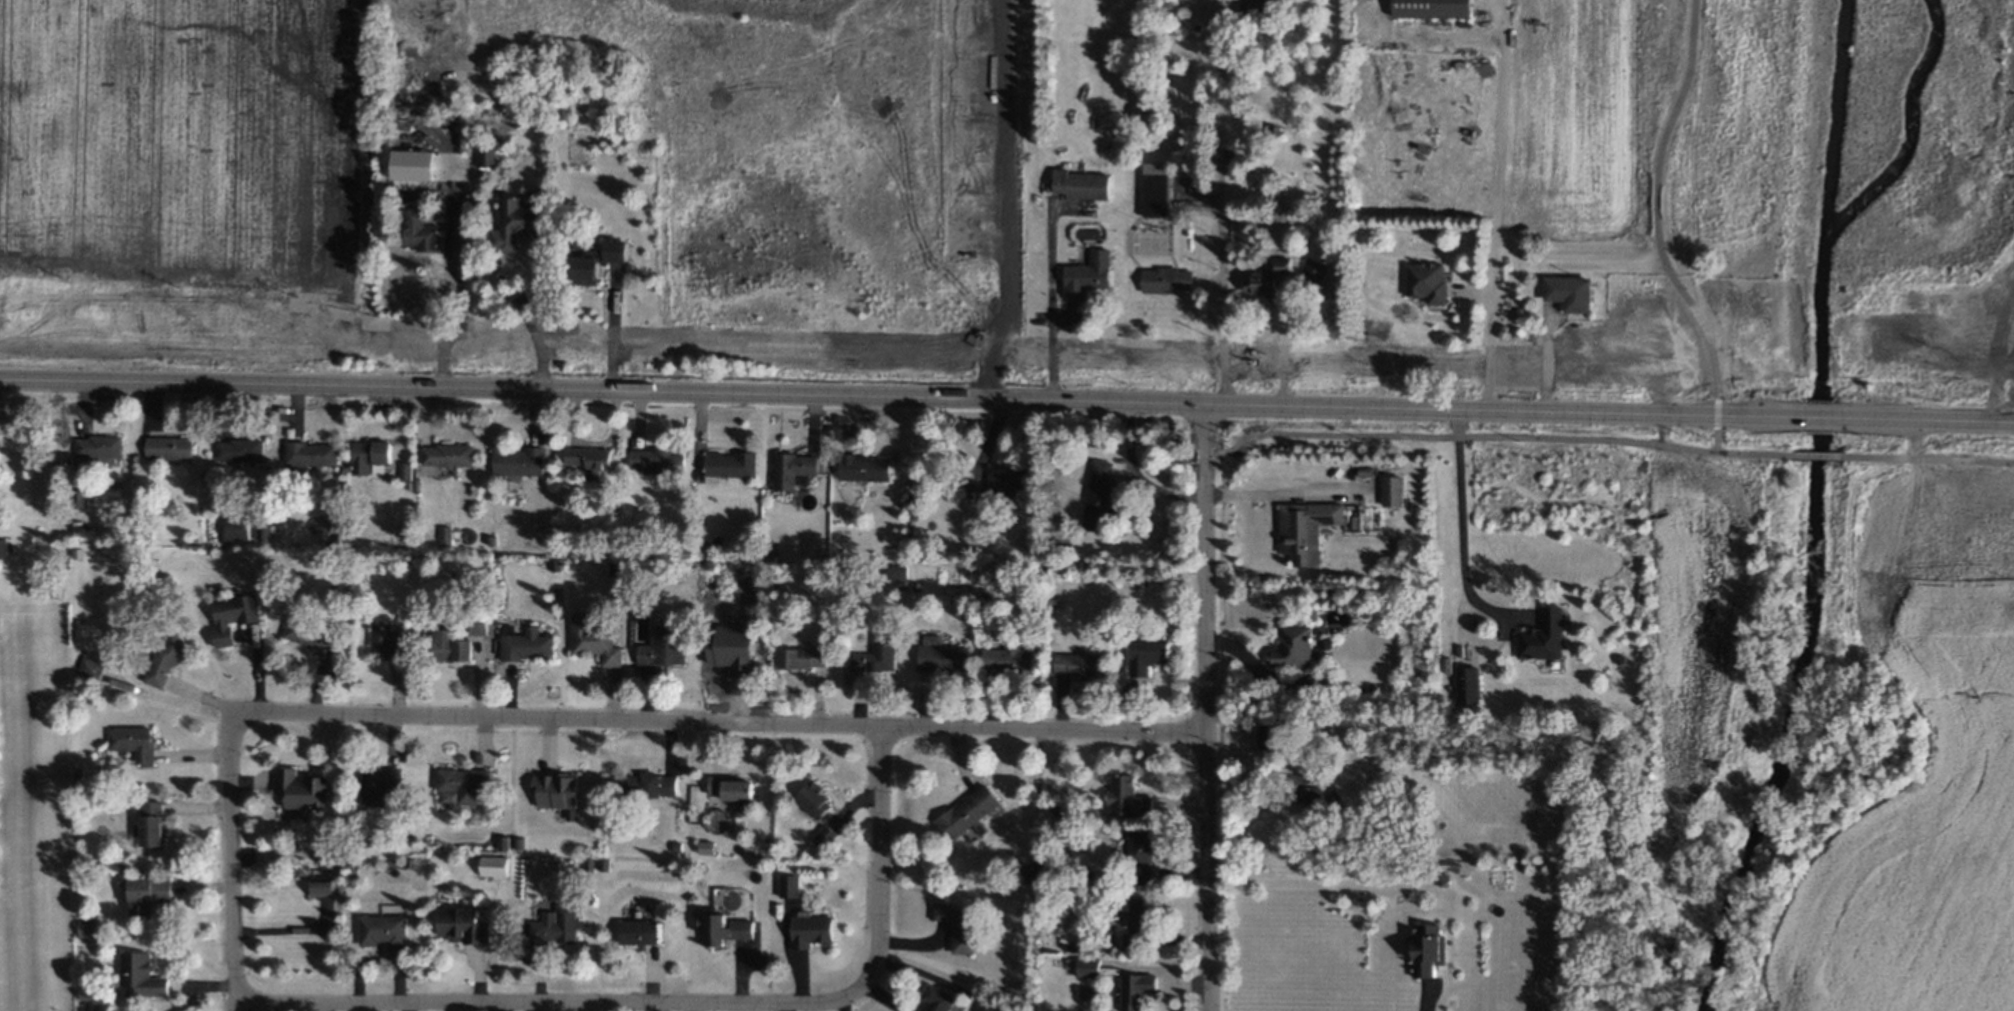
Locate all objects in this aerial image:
building: (1254, 8)
building: (1429, 8)
crop: (1553, 119)
building: (485, 158)
building: (411, 165)
park: (782, 165)
park: (1835, 177)
crop: (185, 185)
building: (1078, 185)
building: (1153, 189)
road: (1005, 202)
road: (1654, 203)
road: (1220, 210)
road: (1489, 210)
building: (513, 225)
building: (418, 232)
building: (594, 261)
building: (1311, 270)
building: (1086, 275)
building: (1265, 277)
building: (1164, 279)
building: (1424, 283)
building: (1567, 294)
road: (514, 300)
road: (456, 325)
road: (610, 334)
road: (1279, 344)
road: (903, 399)
road: (1716, 411)
road: (1819, 418)
road: (1923, 420)
road: (1498, 435)
road: (1714, 438)
building: (98, 445)
building: (167, 448)
building: (236, 448)
building: (308, 452)
building: (445, 454)
road: (1815, 454)
building: (365, 455)
building: (585, 458)
road: (1925, 458)
building: (655, 460)
building: (721, 460)
building: (519, 462)
building: (785, 462)
building: (857, 464)
building: (401, 471)
building: (1008, 473)
building: (1389, 488)
building: (1094, 489)
building: (75, 492)
road: (1284, 492)
road: (1254, 498)
building: (0, 518)
building: (231, 526)
building: (73, 528)
building: (1303, 528)
road: (1454, 528)
building: (259, 530)
building: (438, 533)
building: (885, 538)
building: (486, 539)
building: (3, 545)
building: (1057, 548)
building: (610, 563)
building: (893, 571)
building: (897, 585)
building: (912, 586)
building: (1048, 602)
building: (227, 615)
building: (474, 623)
building: (305, 629)
building: (1535, 635)
building: (589, 637)
building: (928, 637)
building: (384, 638)
building: (658, 641)
building: (520, 642)
building: (1285, 644)
building: (446, 647)
building: (1143, 648)
building: (731, 649)
building: (869, 649)
building: (795, 650)
building: (1005, 654)
building: (939, 657)
building: (159, 659)
building: (1072, 659)
building: (81, 666)
building: (1315, 680)
building: (1462, 686)
road: (1208, 708)
road: (717, 725)
building: (1350, 731)
building: (125, 737)
building: (1267, 738)
building: (457, 772)
building: (73, 774)
building: (372, 780)
building: (722, 781)
building: (643, 788)
building: (1126, 790)
building: (1308, 790)
building: (296, 792)
building: (805, 795)
building: (550, 801)
building: (1052, 806)
building: (962, 807)
building: (142, 828)
building: (360, 833)
building: (820, 838)
building: (500, 840)
building: (515, 840)
building: (1139, 841)
building: (703, 844)
building: (314, 845)
building: (672, 846)
building: (405, 860)
road: (877, 860)
building: (490, 863)
building: (585, 864)
building: (600, 866)
road: (236, 867)
building: (1022, 868)
building: (1460, 869)
building: (1136, 872)
building: (1049, 875)
building: (74, 878)
building: (1440, 878)
building: (314, 887)
building: (784, 890)
building: (141, 897)
building: (722, 919)
building: (1137, 919)
building: (461, 921)
building: (81, 922)
building: (810, 923)
building: (550, 925)
building: (954, 928)
road: (282, 930)
building: (379, 933)
building: (634, 934)
building: (1098, 939)
building: (1067, 946)
building: (1422, 948)
building: (1063, 964)
building: (1083, 969)
building: (133, 971)
building: (80, 990)
building: (1132, 993)
road: (554, 1001)
building: (932, 1003)
building: (981, 1008)

